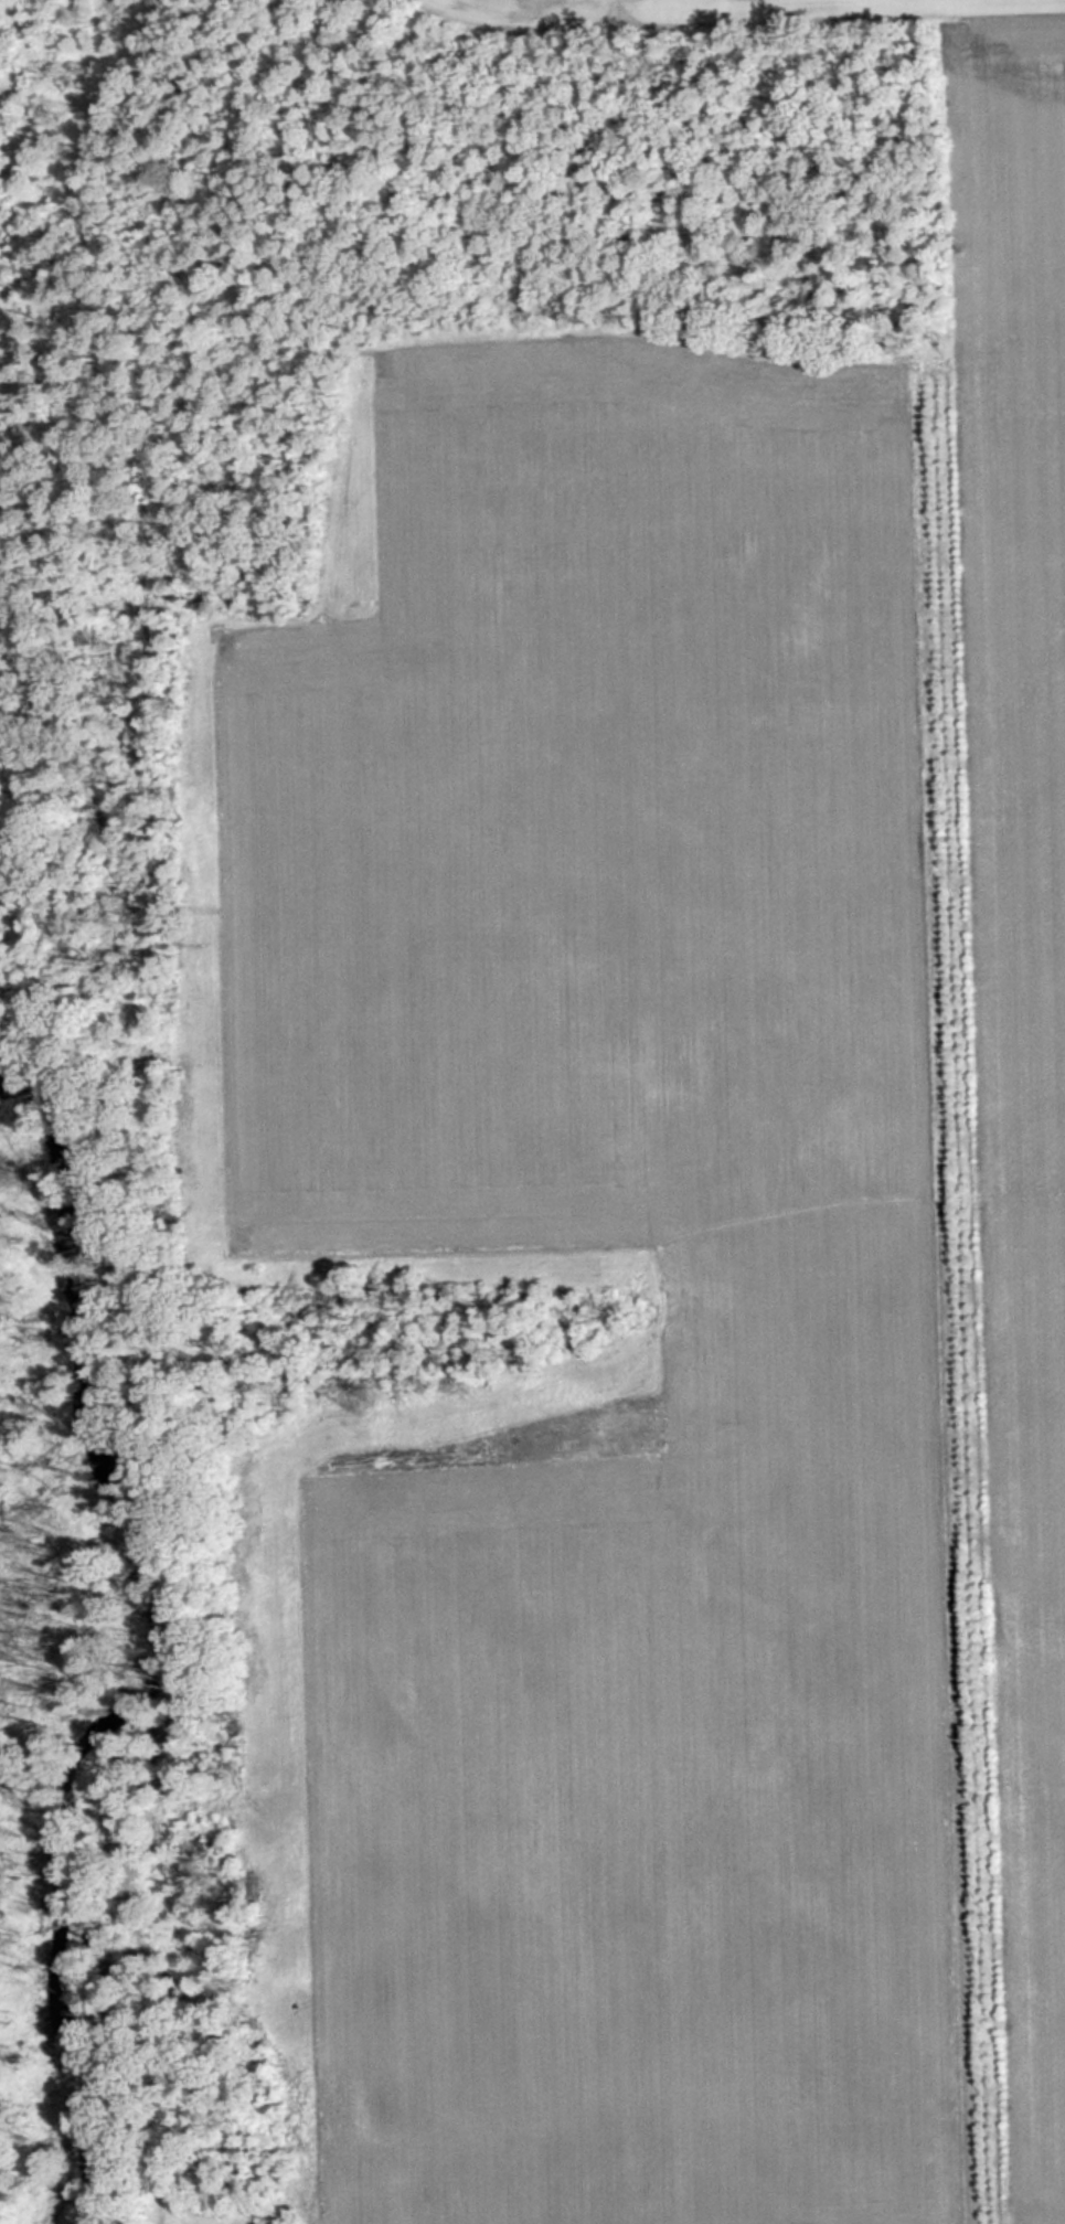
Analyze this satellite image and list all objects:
river: (146, 1639)

